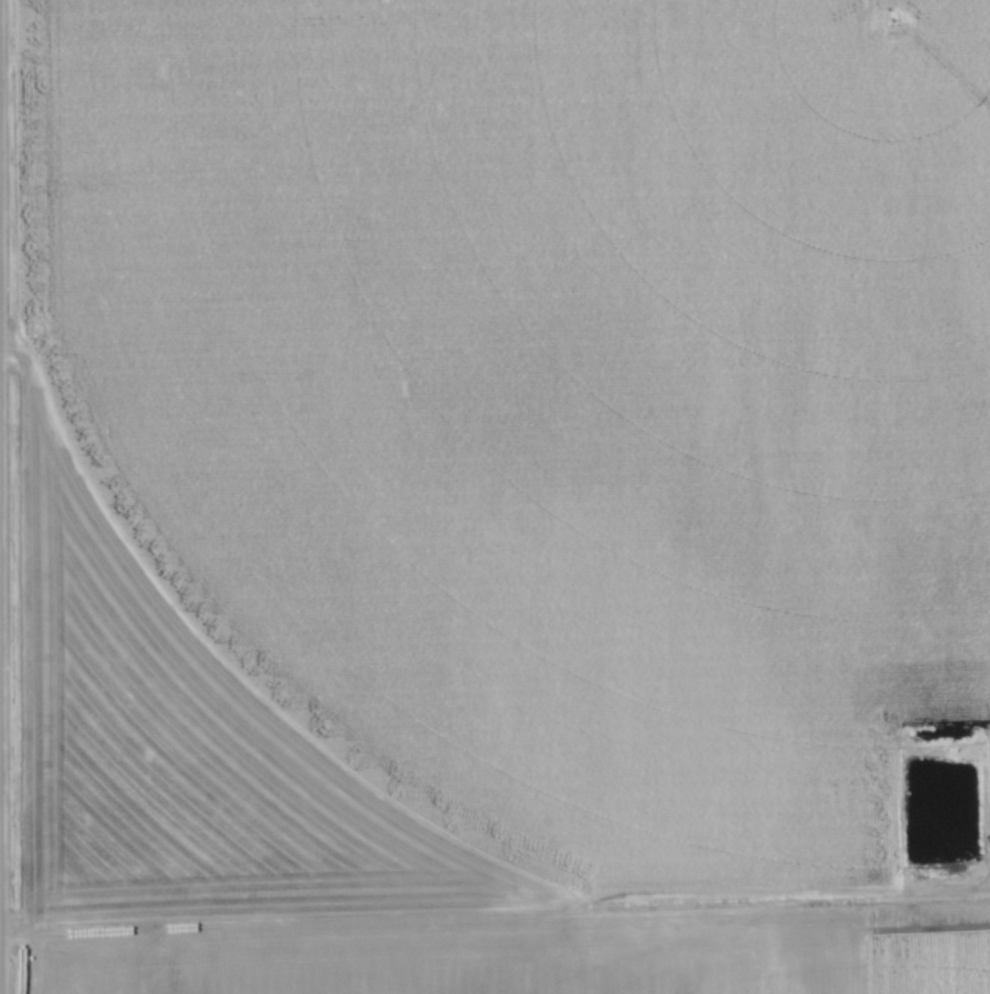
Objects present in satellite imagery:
crop: (502, 496)

